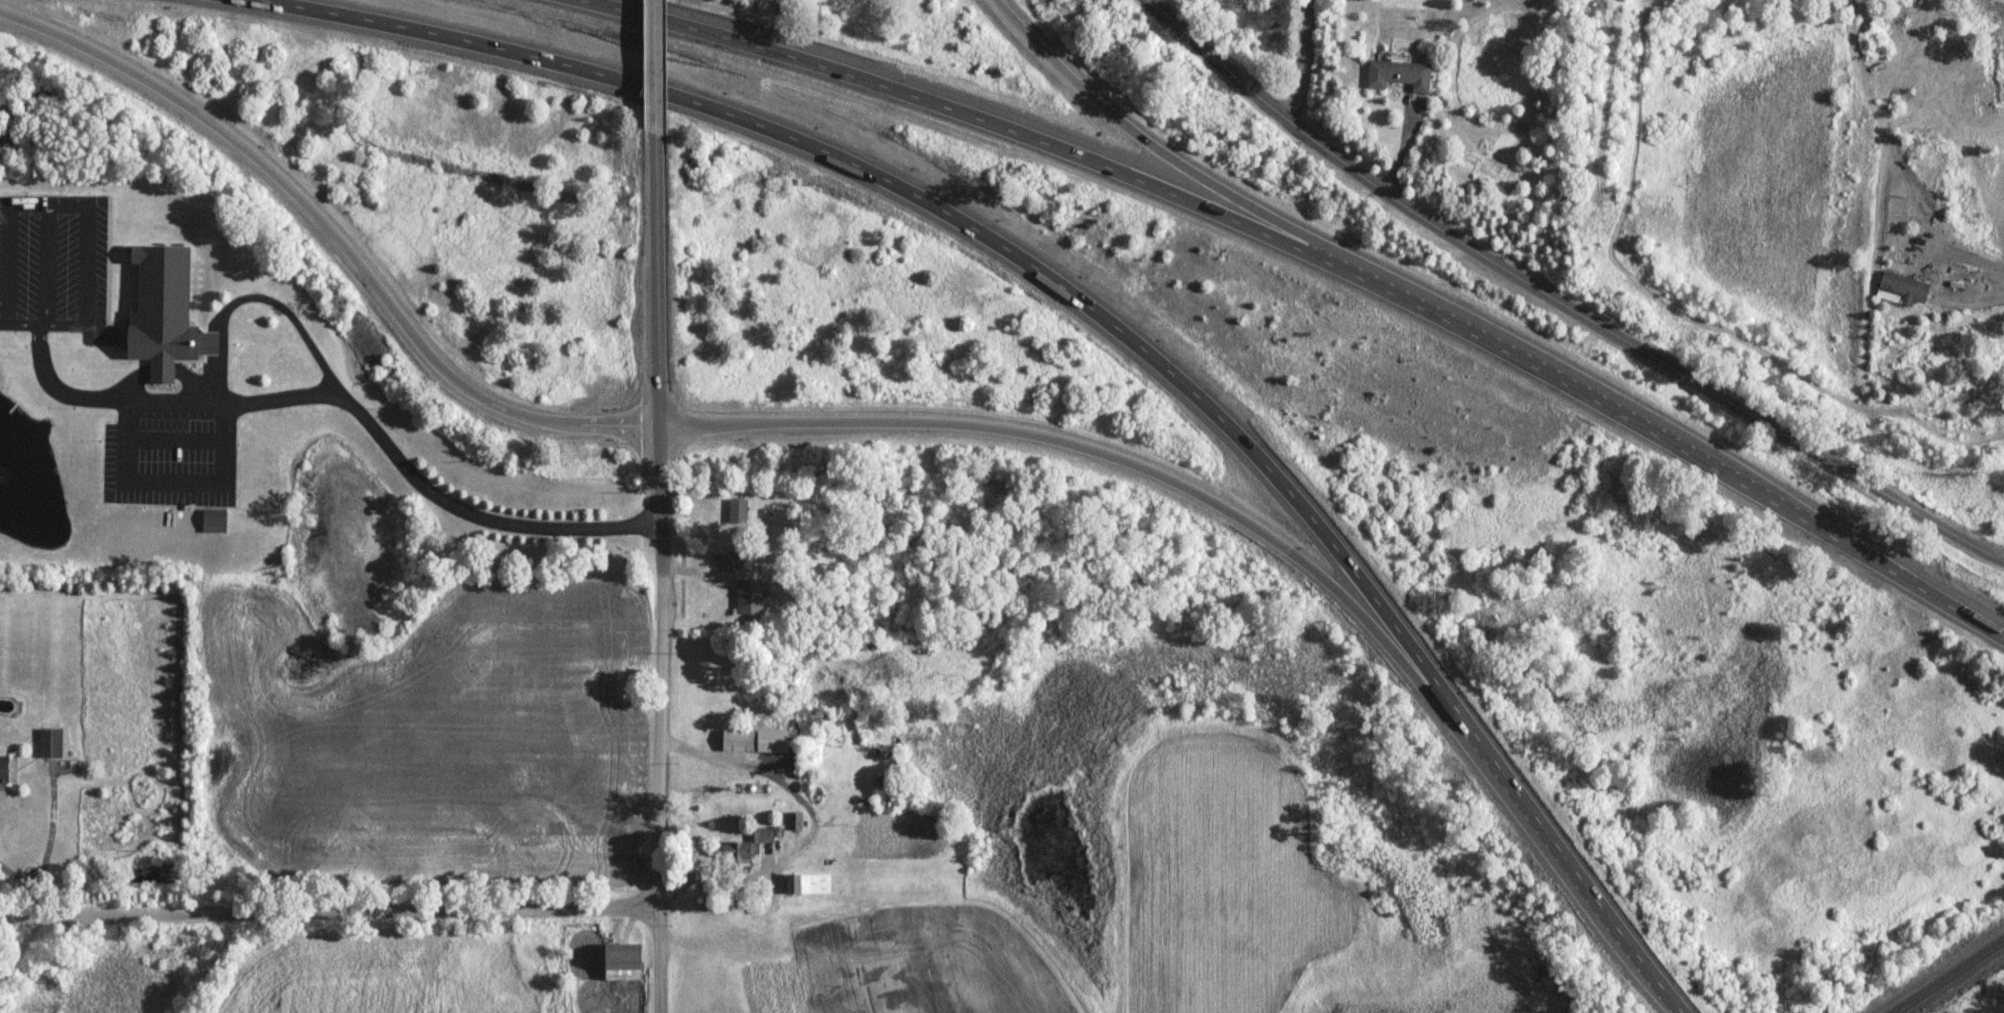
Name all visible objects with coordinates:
road: (1299, 64)
road: (651, 66)
building: (1397, 75)
road: (1181, 166)
crop: (1760, 170)
road: (296, 193)
building: (1898, 213)
road: (1316, 258)
road: (655, 278)
building: (1901, 290)
road: (1980, 291)
road: (1562, 300)
road: (1098, 312)
building: (162, 313)
road: (336, 392)
road: (604, 424)
road: (122, 457)
road: (1125, 461)
road: (659, 471)
building: (735, 508)
building: (212, 520)
building: (730, 559)
building: (746, 594)
building: (48, 742)
building: (735, 742)
road: (658, 765)
building: (2, 766)
building: (763, 784)
building: (805, 784)
building: (746, 786)
road: (813, 819)
building: (793, 822)
building: (743, 848)
building: (789, 880)
road: (27, 885)
road: (328, 913)
building: (619, 960)
railway: (1951, 977)
crop: (350, 982)

